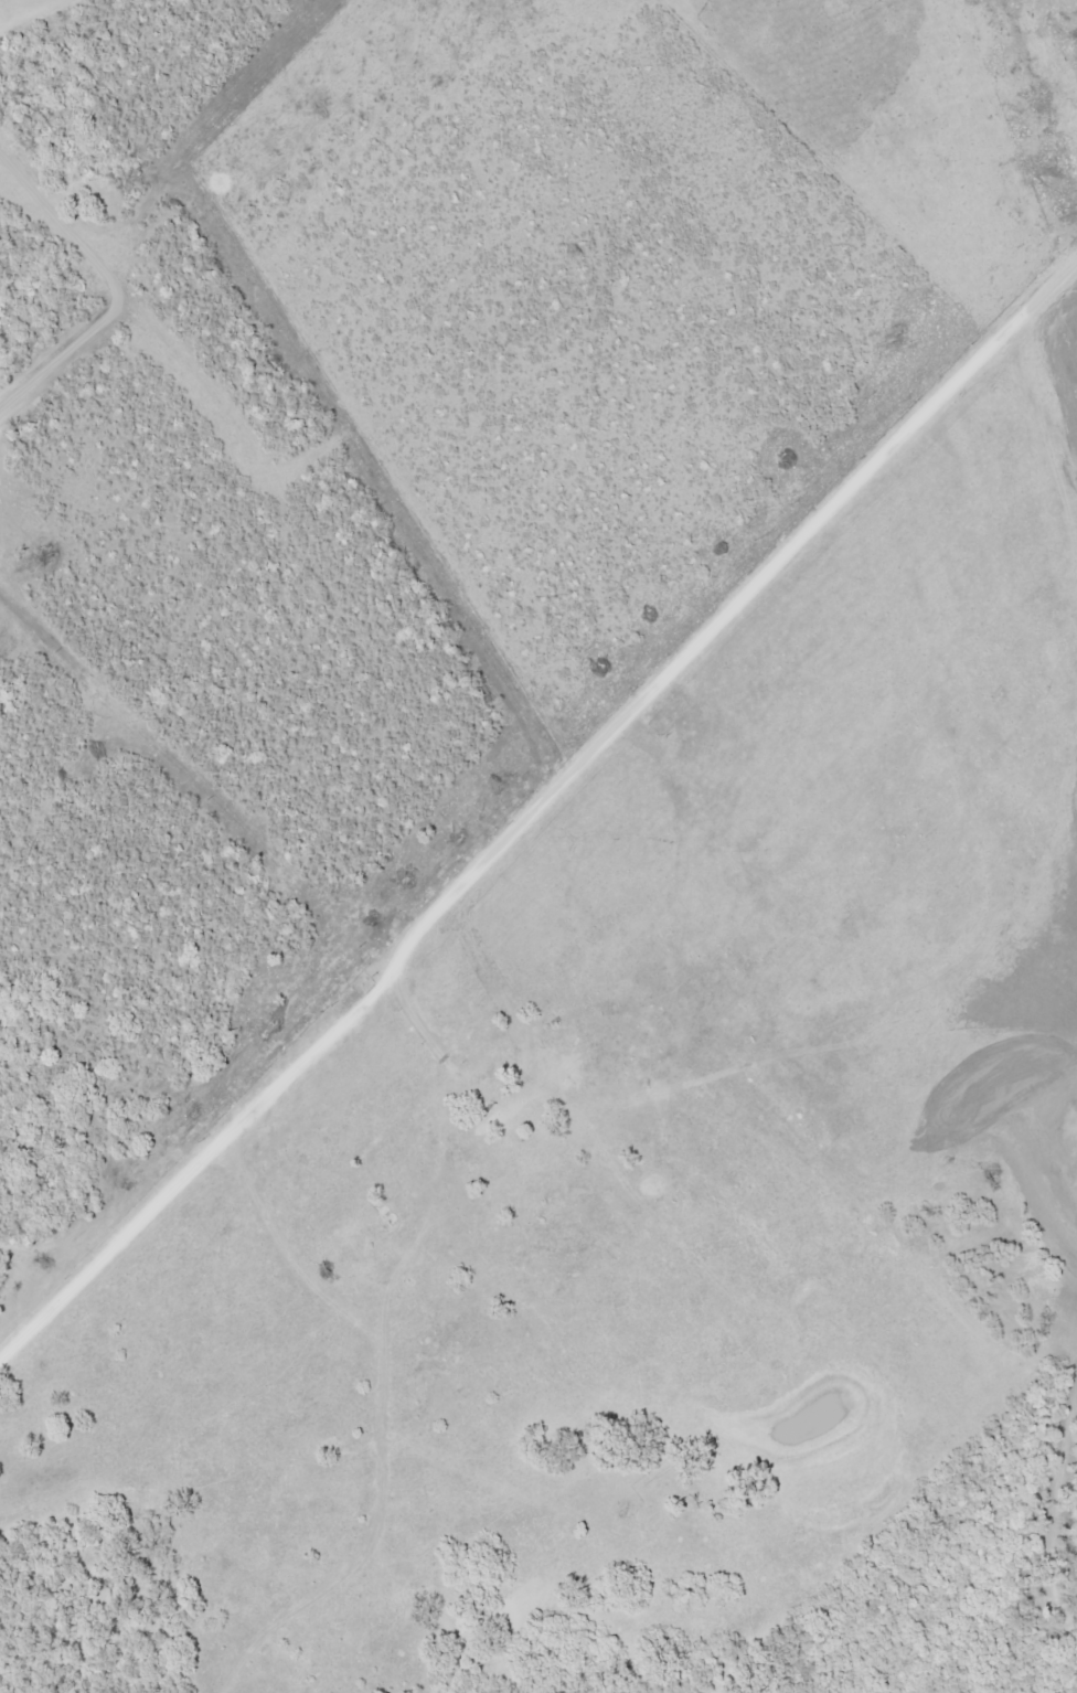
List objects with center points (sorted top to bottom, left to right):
road: (534, 809)
building: (473, 1034)
building: (523, 1086)
building: (509, 1121)
building: (616, 1156)
building: (375, 1218)
road: (383, 1343)

